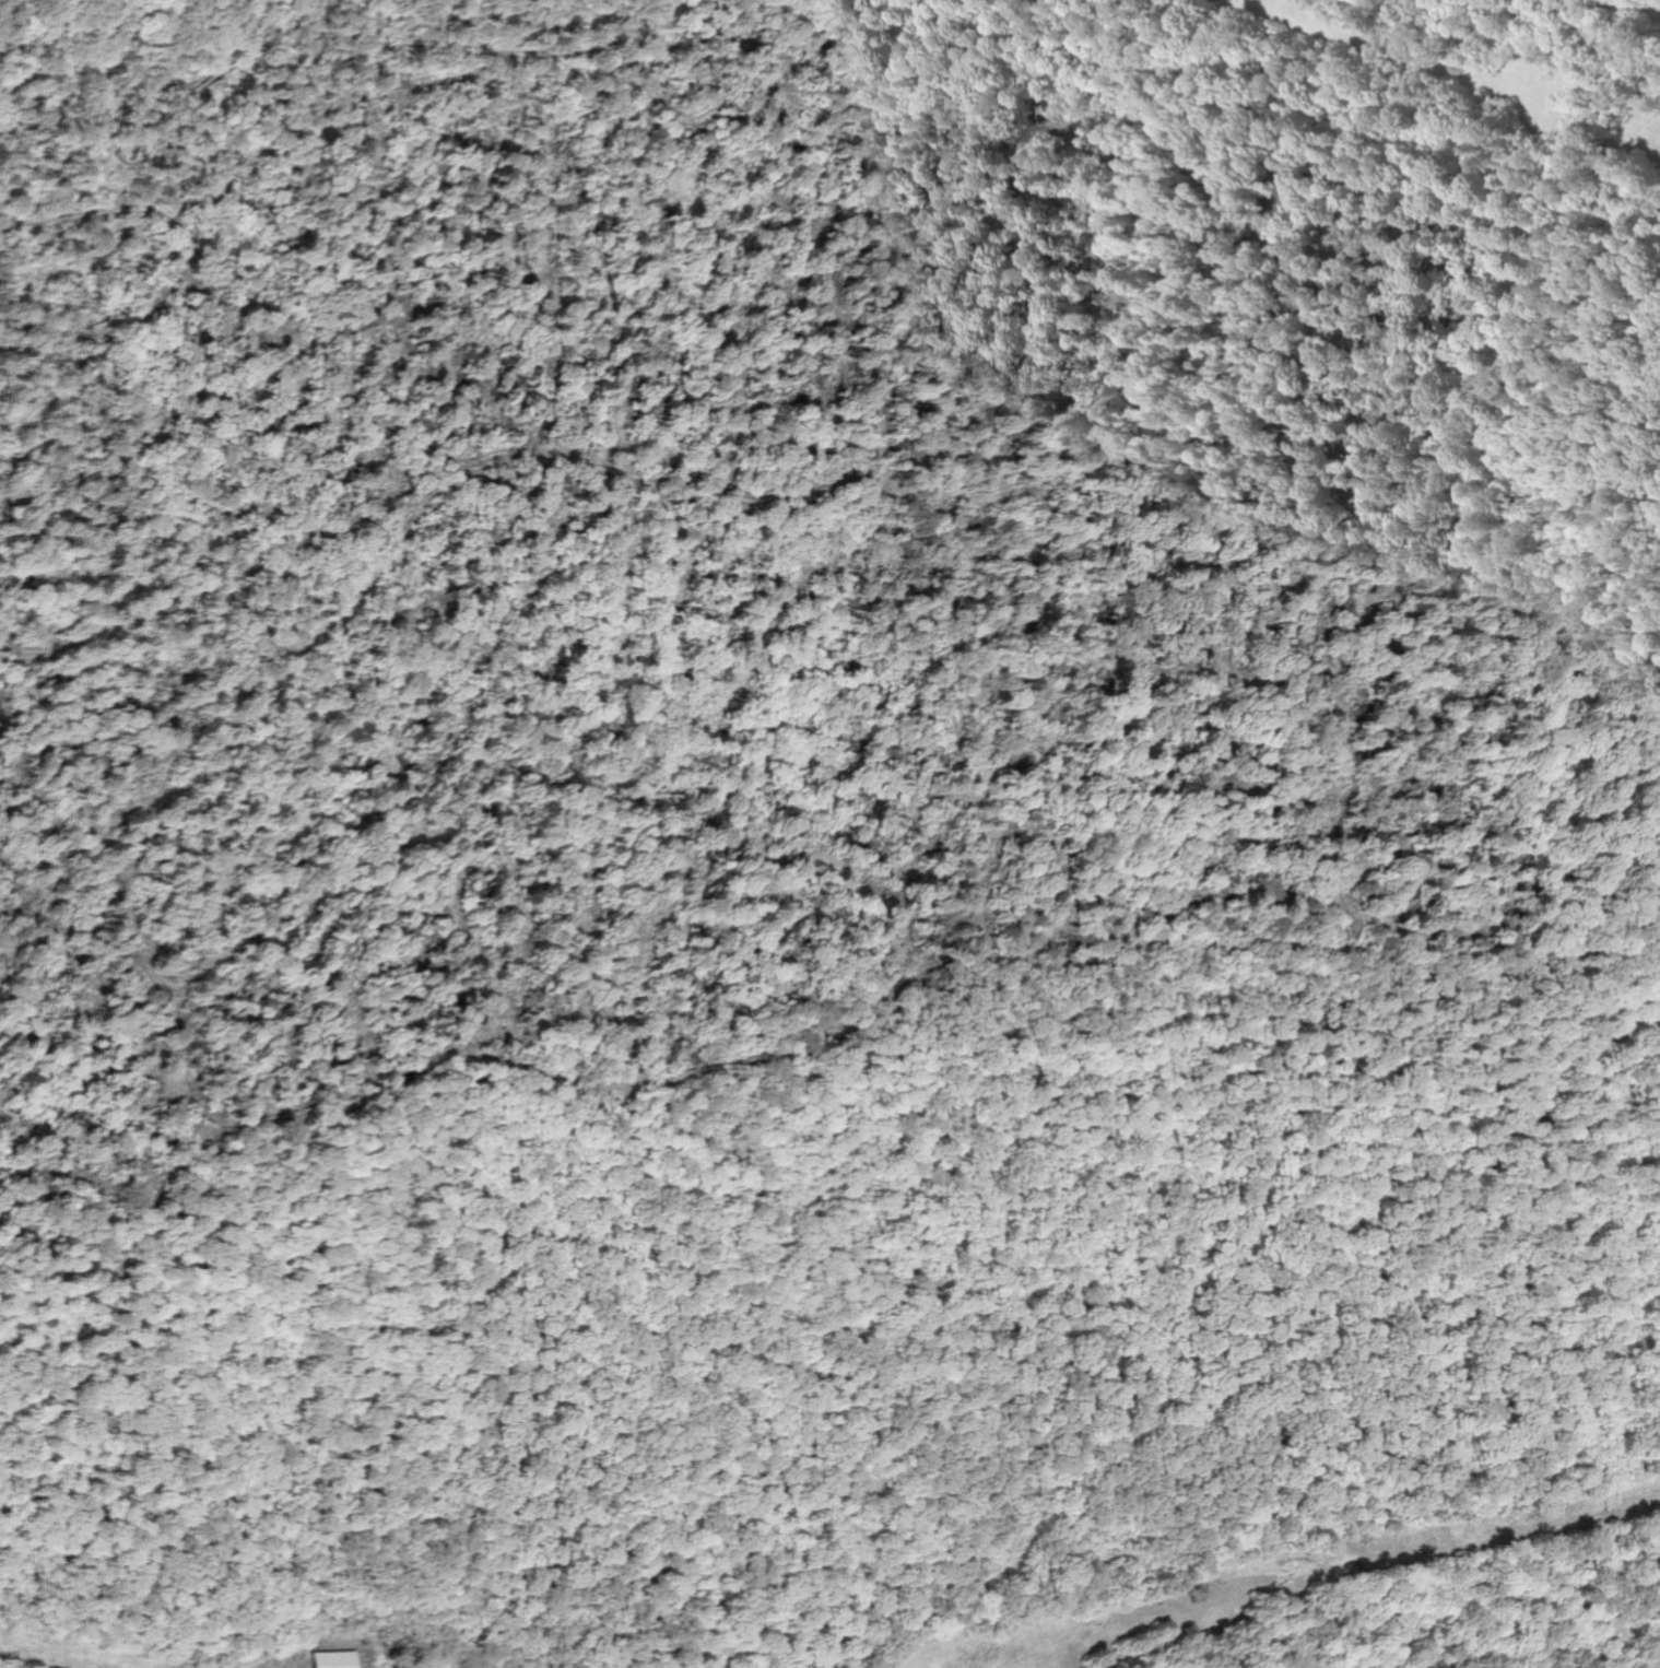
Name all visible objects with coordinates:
building: (328, 1660)

